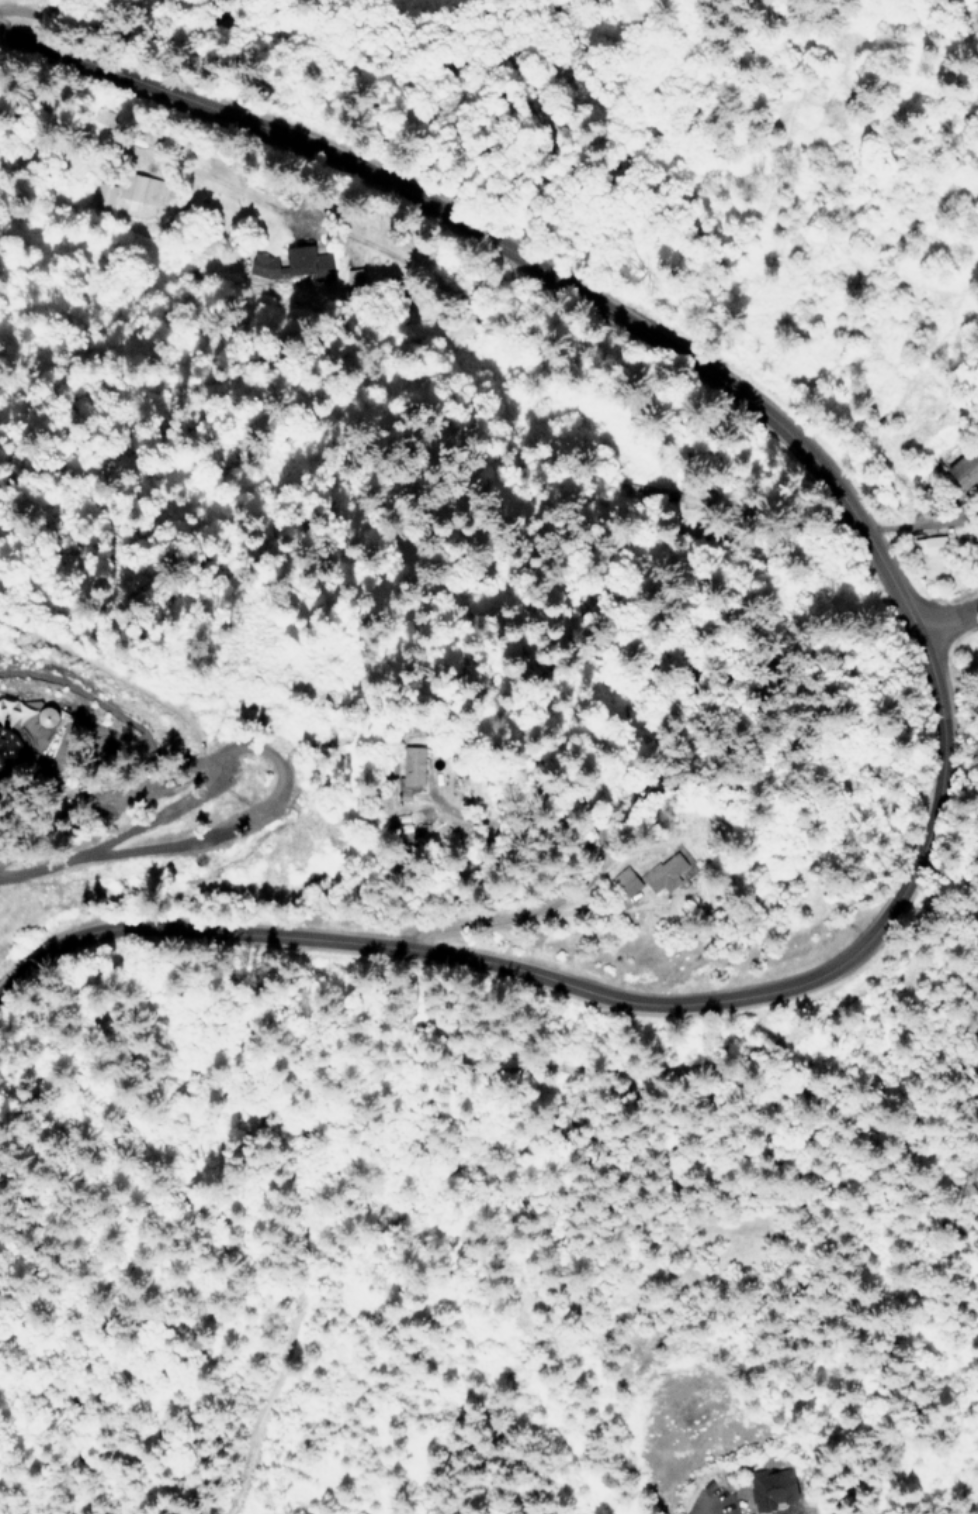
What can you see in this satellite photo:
building: (103, 120)
building: (138, 192)
building: (103, 197)
road: (477, 224)
building: (293, 264)
building: (354, 279)
building: (964, 469)
building: (927, 547)
road: (901, 597)
road: (954, 630)
building: (36, 729)
building: (411, 764)
building: (99, 810)
building: (405, 818)
road: (201, 838)
building: (650, 875)
road: (504, 917)
road: (582, 985)
building: (771, 1489)
road: (707, 1507)

